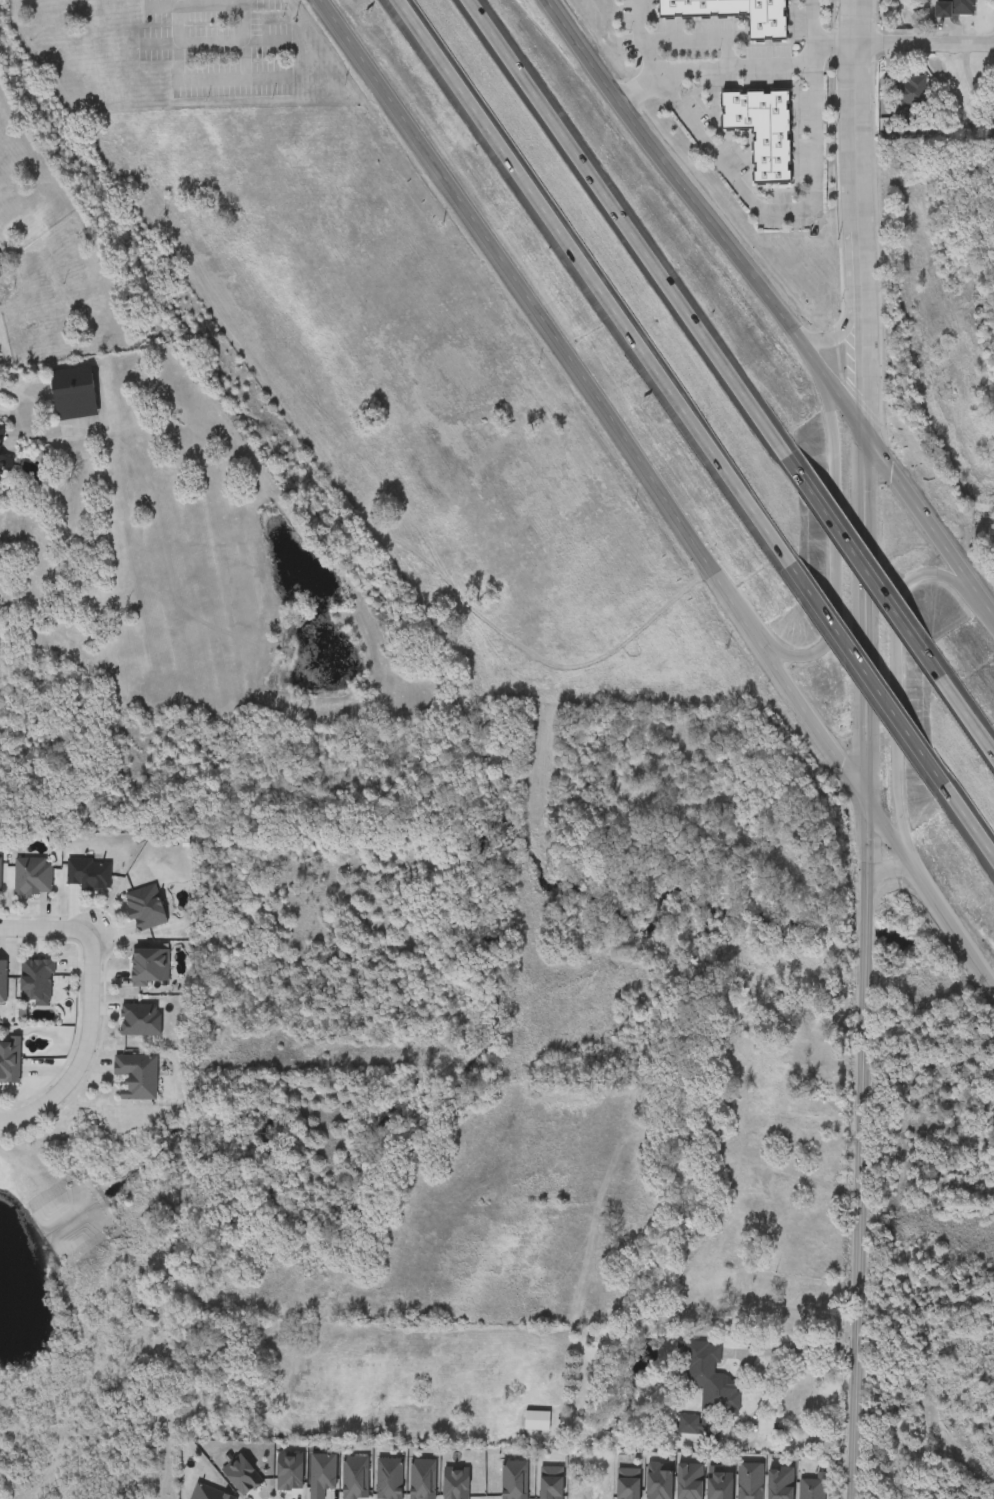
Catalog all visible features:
road: (241, 1)
building: (955, 9)
building: (732, 14)
road: (696, 38)
road: (836, 43)
road: (926, 43)
road: (734, 64)
road: (177, 79)
road: (638, 88)
building: (908, 95)
building: (761, 131)
road: (766, 209)
road: (861, 216)
road: (705, 218)
road: (632, 227)
building: (2, 269)
road: (598, 280)
road: (839, 330)
building: (74, 402)
building: (1, 432)
building: (4, 465)
road: (658, 493)
road: (930, 526)
road: (870, 565)
road: (832, 573)
road: (869, 619)
road: (872, 672)
road: (898, 673)
road: (971, 711)
road: (971, 815)
road: (887, 869)
building: (0, 871)
building: (88, 875)
building: (32, 877)
building: (144, 909)
road: (45, 927)
building: (149, 968)
building: (2, 982)
building: (35, 982)
building: (68, 997)
building: (138, 1021)
road: (84, 1045)
building: (9, 1061)
building: (135, 1075)
road: (863, 1152)
road: (801, 1350)
building: (709, 1378)
building: (536, 1421)
building: (687, 1425)

